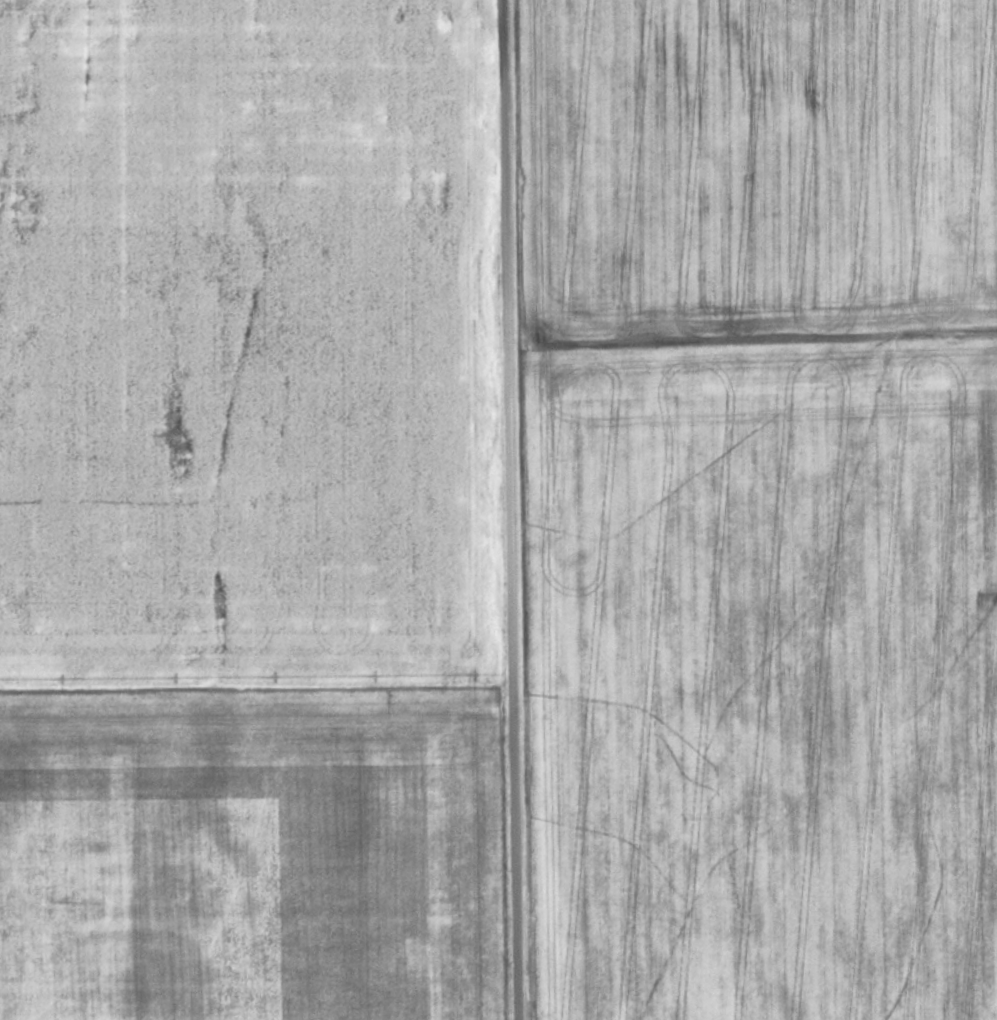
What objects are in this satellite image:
road: (511, 510)

